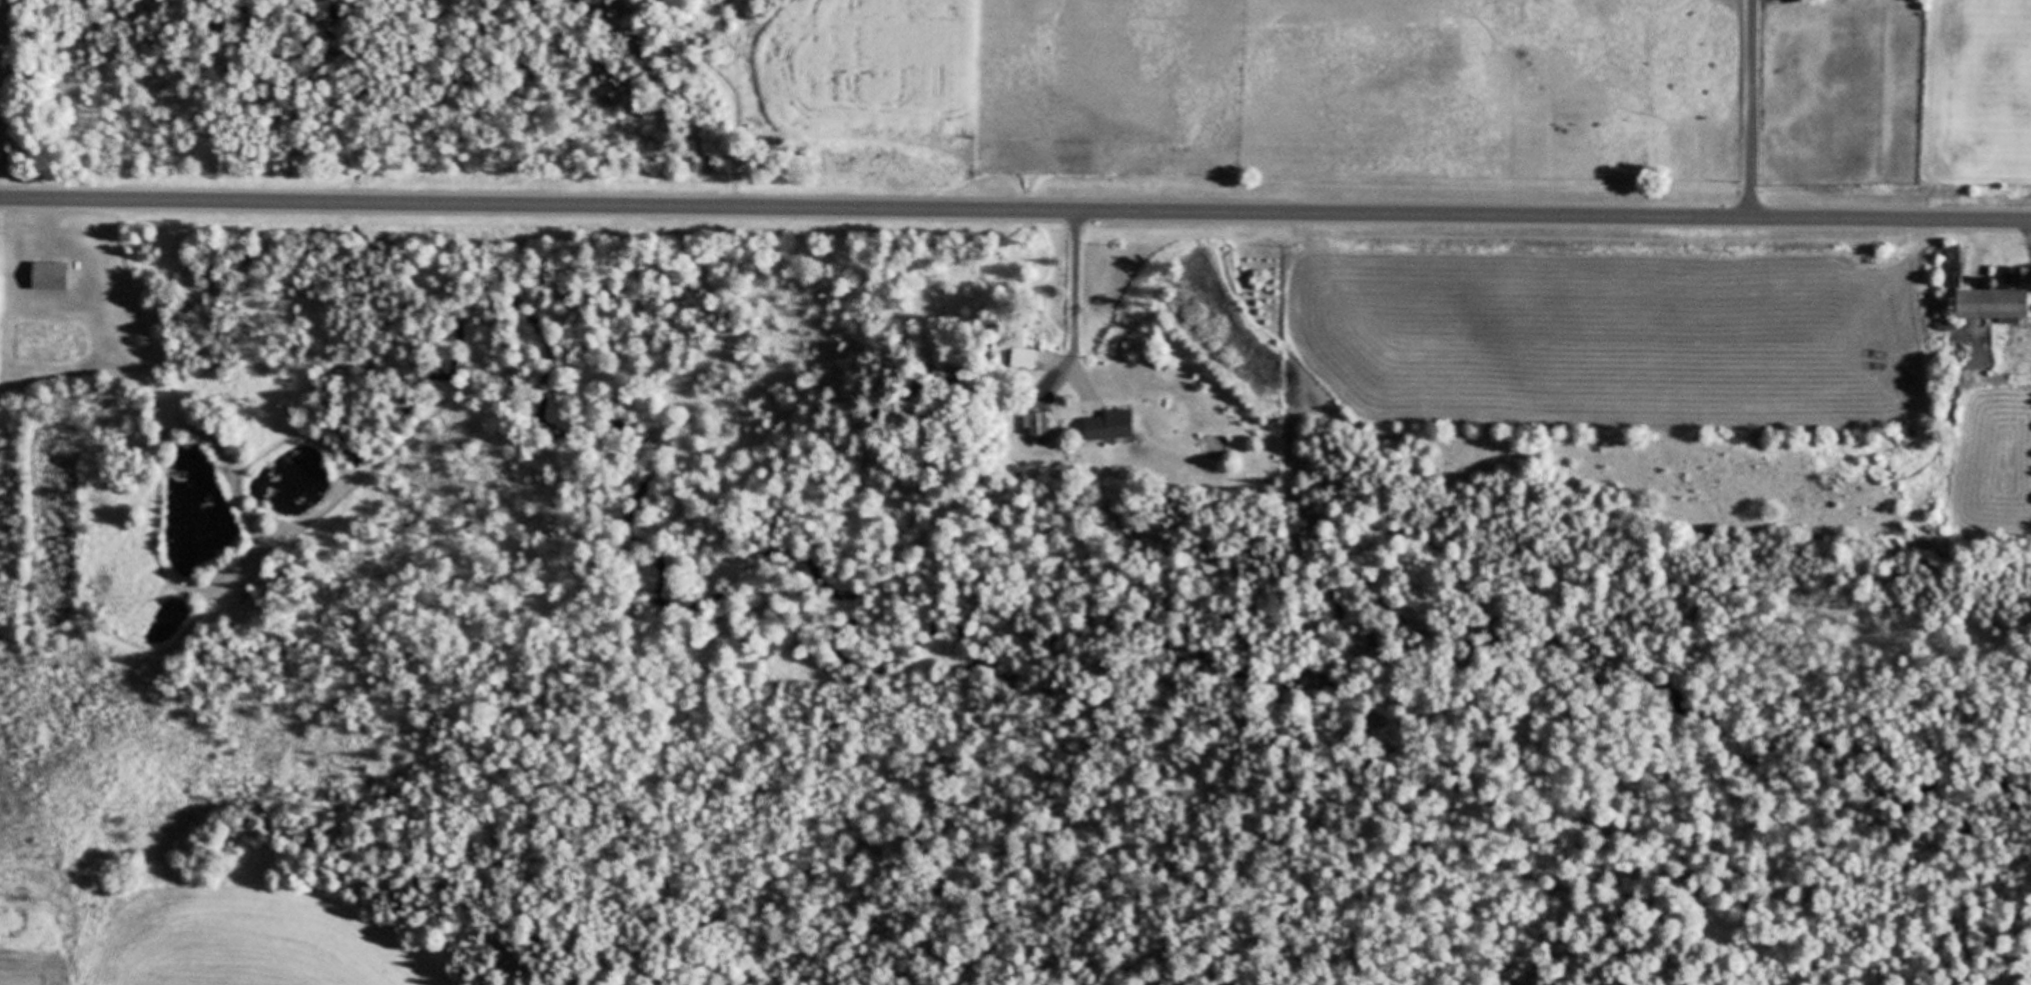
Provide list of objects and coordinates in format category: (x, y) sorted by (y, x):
road: (1752, 109)
road: (1015, 209)
building: (50, 275)
building: (1982, 290)
road: (1076, 303)
building: (1039, 423)
building: (1108, 425)

